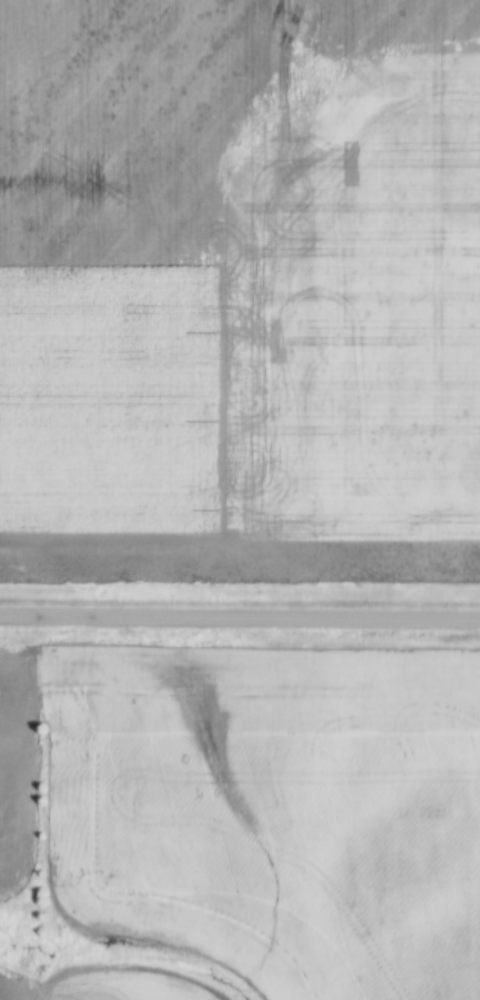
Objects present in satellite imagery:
road: (240, 616)

